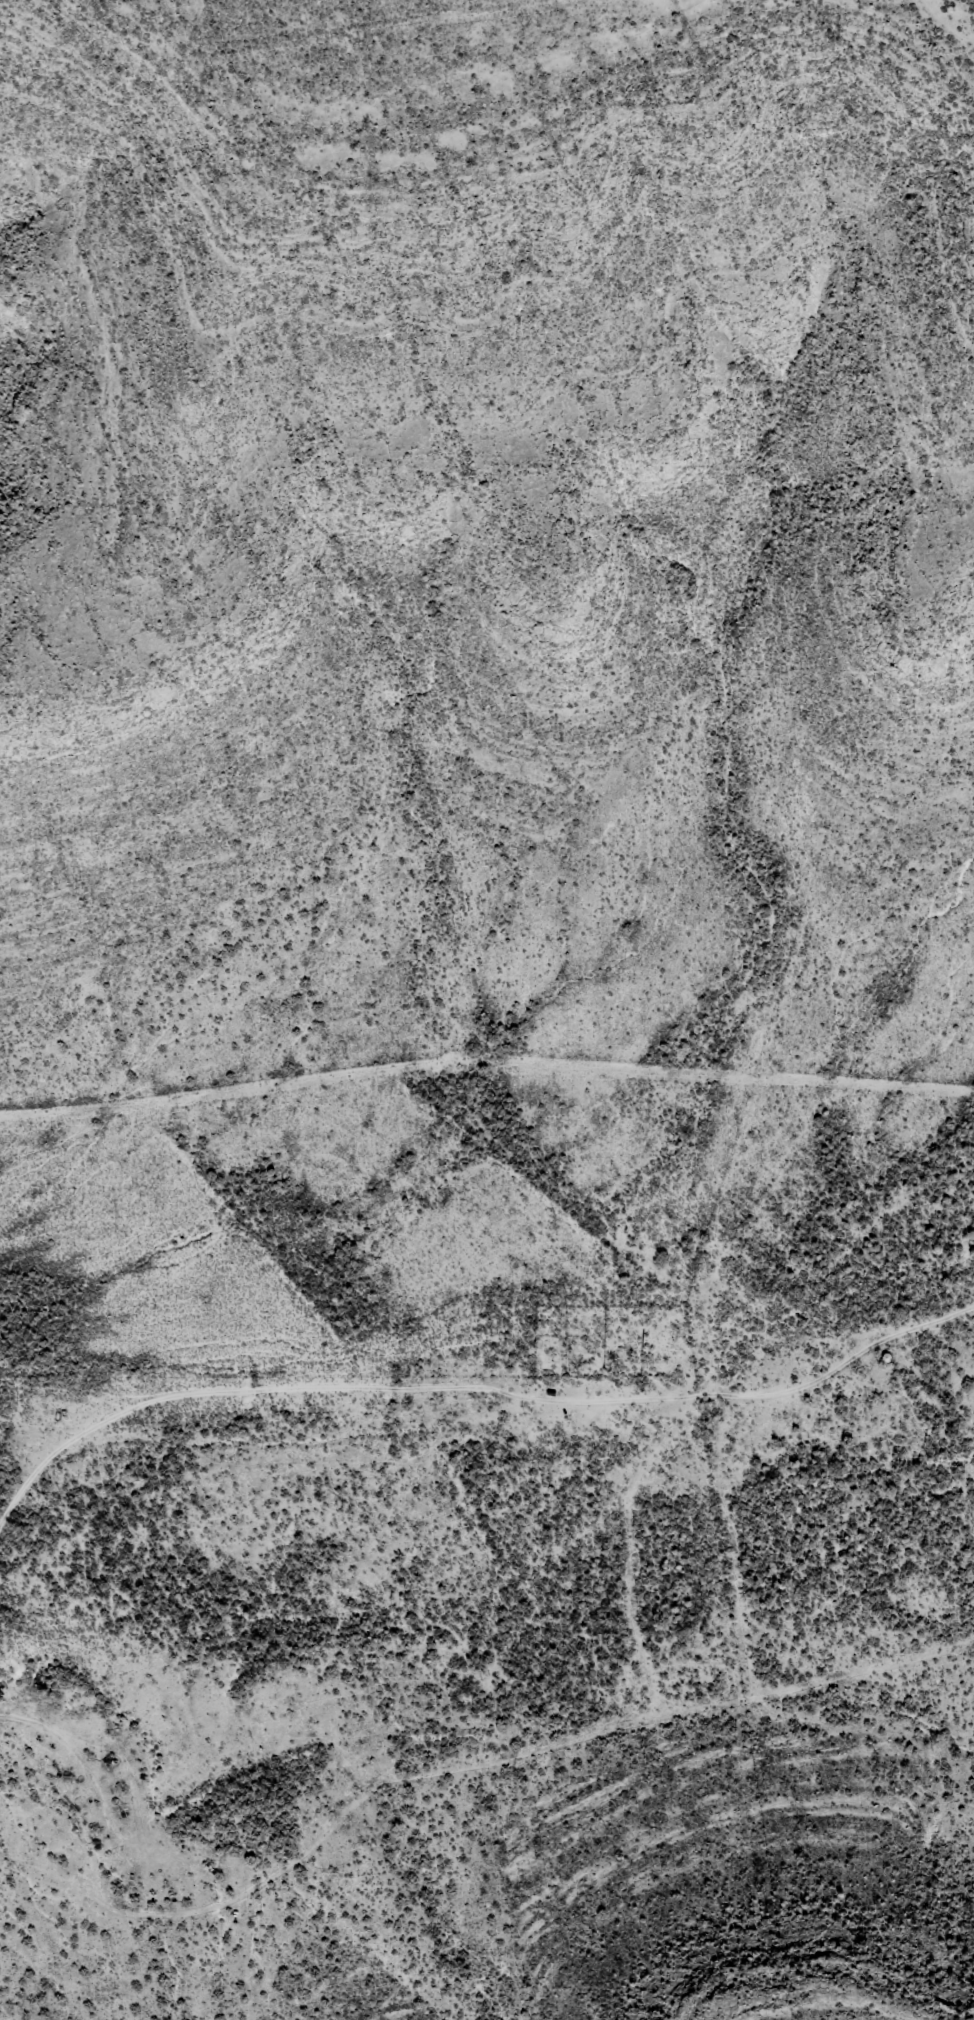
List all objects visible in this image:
road: (473, 1387)

